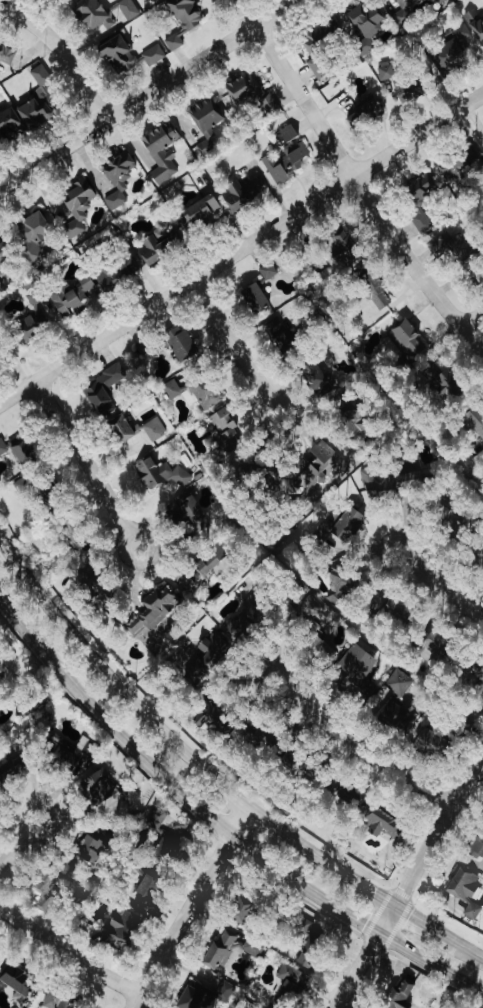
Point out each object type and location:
building: (125, 11)
building: (95, 15)
building: (403, 15)
building: (185, 20)
building: (476, 23)
building: (366, 27)
building: (463, 33)
building: (322, 46)
building: (7, 55)
building: (121, 55)
building: (155, 55)
road: (61, 56)
building: (449, 57)
building: (402, 85)
building: (251, 93)
road: (149, 94)
building: (40, 102)
building: (366, 113)
building: (209, 117)
building: (10, 125)
building: (288, 135)
building: (206, 149)
building: (164, 152)
building: (287, 163)
building: (463, 169)
building: (120, 179)
road: (354, 180)
building: (423, 186)
building: (246, 193)
building: (79, 207)
building: (203, 210)
building: (422, 220)
building: (35, 236)
building: (160, 246)
building: (455, 246)
road: (242, 248)
building: (347, 249)
building: (4, 256)
building: (121, 271)
building: (269, 271)
building: (1, 273)
building: (1, 287)
building: (375, 288)
building: (73, 296)
building: (257, 299)
building: (44, 308)
road: (472, 318)
building: (29, 328)
building: (284, 334)
building: (410, 338)
building: (183, 342)
road: (245, 351)
building: (0, 355)
building: (317, 377)
building: (446, 380)
building: (173, 389)
building: (104, 390)
building: (206, 391)
building: (360, 421)
building: (476, 422)
building: (137, 429)
building: (228, 430)
building: (3, 447)
building: (26, 450)
road: (82, 455)
building: (320, 467)
building: (163, 475)
building: (24, 486)
building: (50, 496)
building: (194, 513)
building: (350, 524)
road: (127, 531)
building: (75, 533)
building: (210, 569)
building: (96, 583)
building: (342, 584)
road: (438, 587)
building: (260, 605)
building: (398, 607)
building: (156, 609)
building: (241, 626)
building: (437, 646)
building: (217, 647)
building: (321, 648)
building: (360, 669)
building: (477, 677)
building: (401, 683)
building: (206, 714)
building: (397, 714)
road: (177, 742)
building: (435, 743)
road: (358, 748)
building: (71, 753)
building: (8, 774)
building: (102, 786)
building: (351, 794)
road: (53, 810)
building: (156, 822)
building: (385, 824)
road: (218, 825)
building: (479, 847)
road: (13, 849)
building: (93, 851)
building: (167, 851)
road: (410, 879)
building: (151, 886)
building: (49, 888)
building: (466, 889)
road: (188, 906)
building: (244, 910)
road: (427, 924)
building: (123, 928)
building: (313, 945)
building: (254, 946)
building: (222, 950)
road: (470, 950)
road: (67, 956)
building: (20, 982)
building: (293, 987)
building: (226, 992)
building: (402, 995)
building: (194, 997)
building: (64, 1000)

